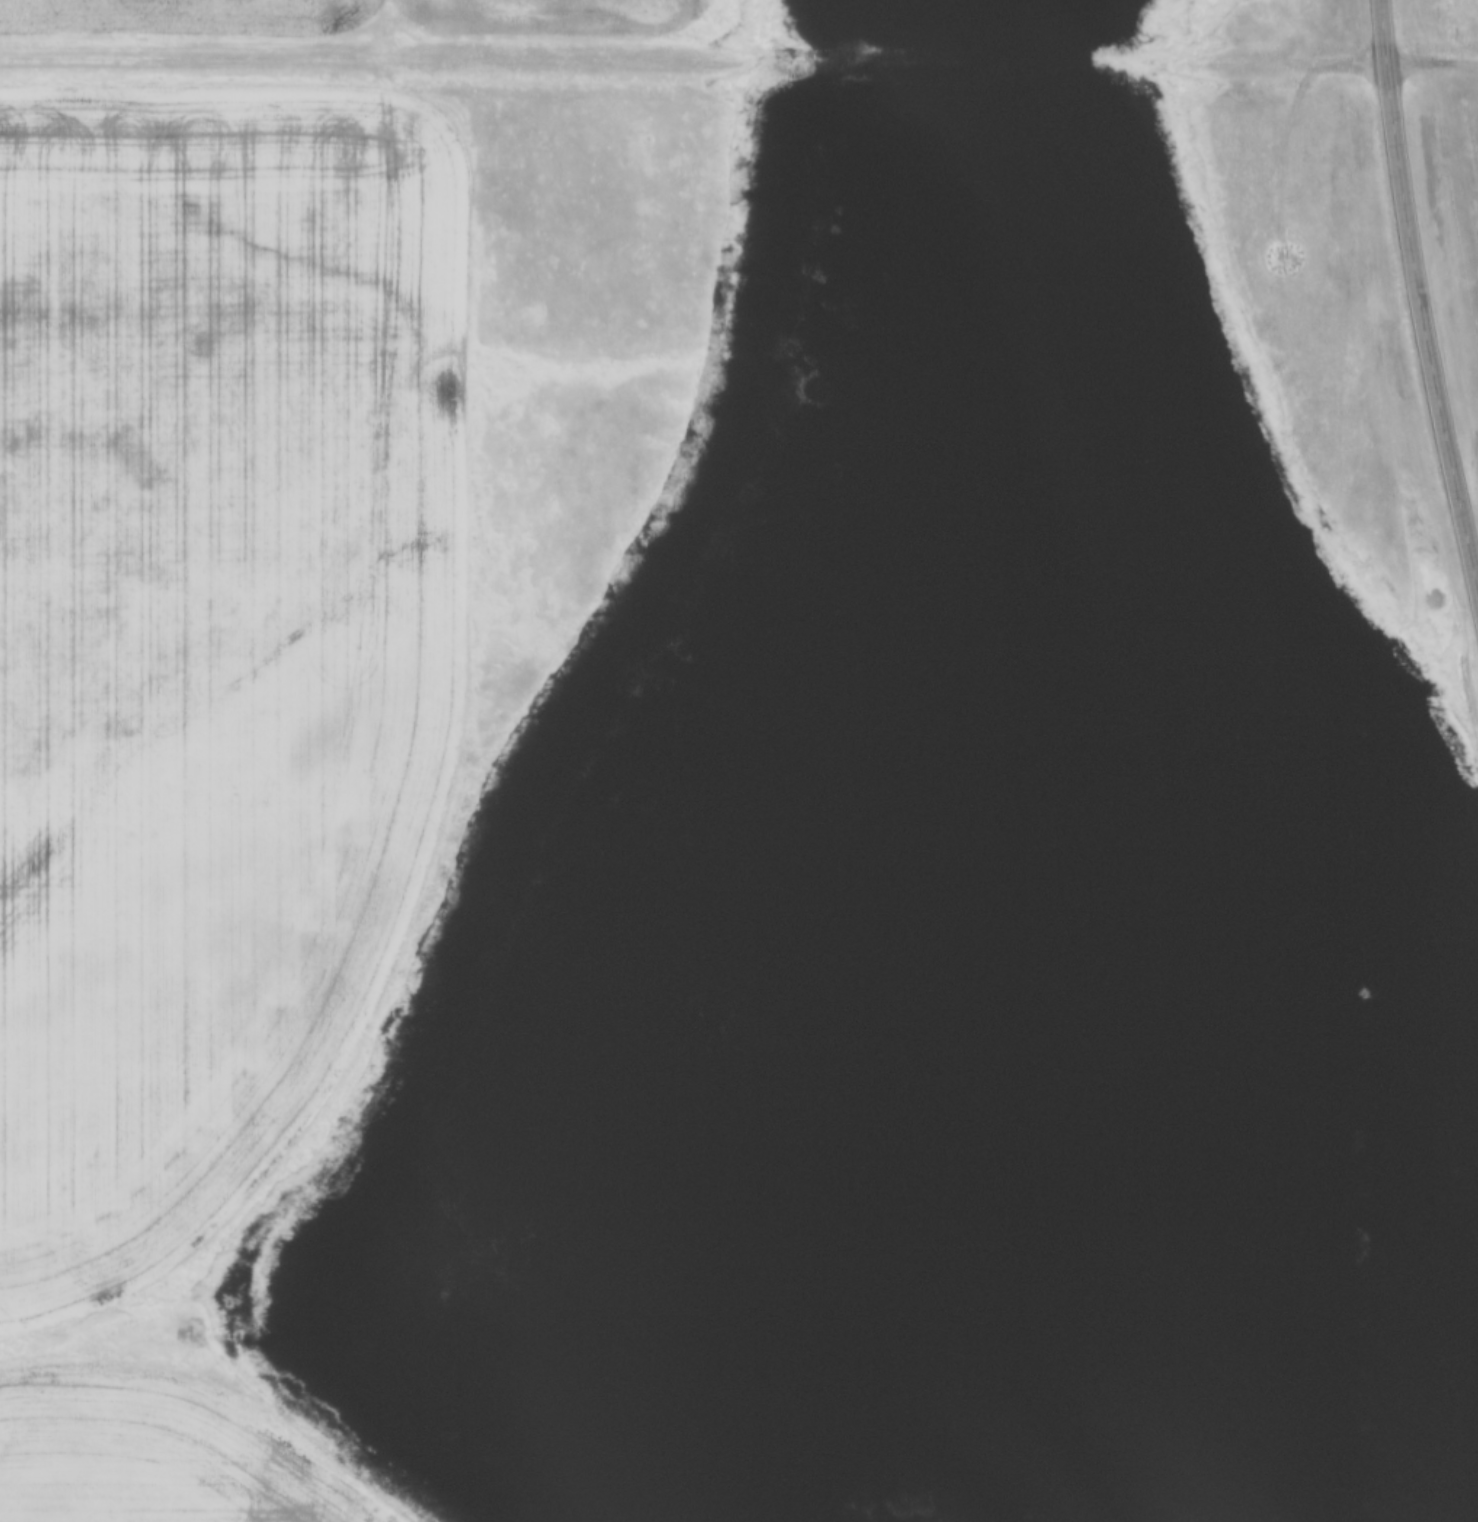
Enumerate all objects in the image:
road: (694, 63)
road: (1433, 64)
road: (1419, 287)

